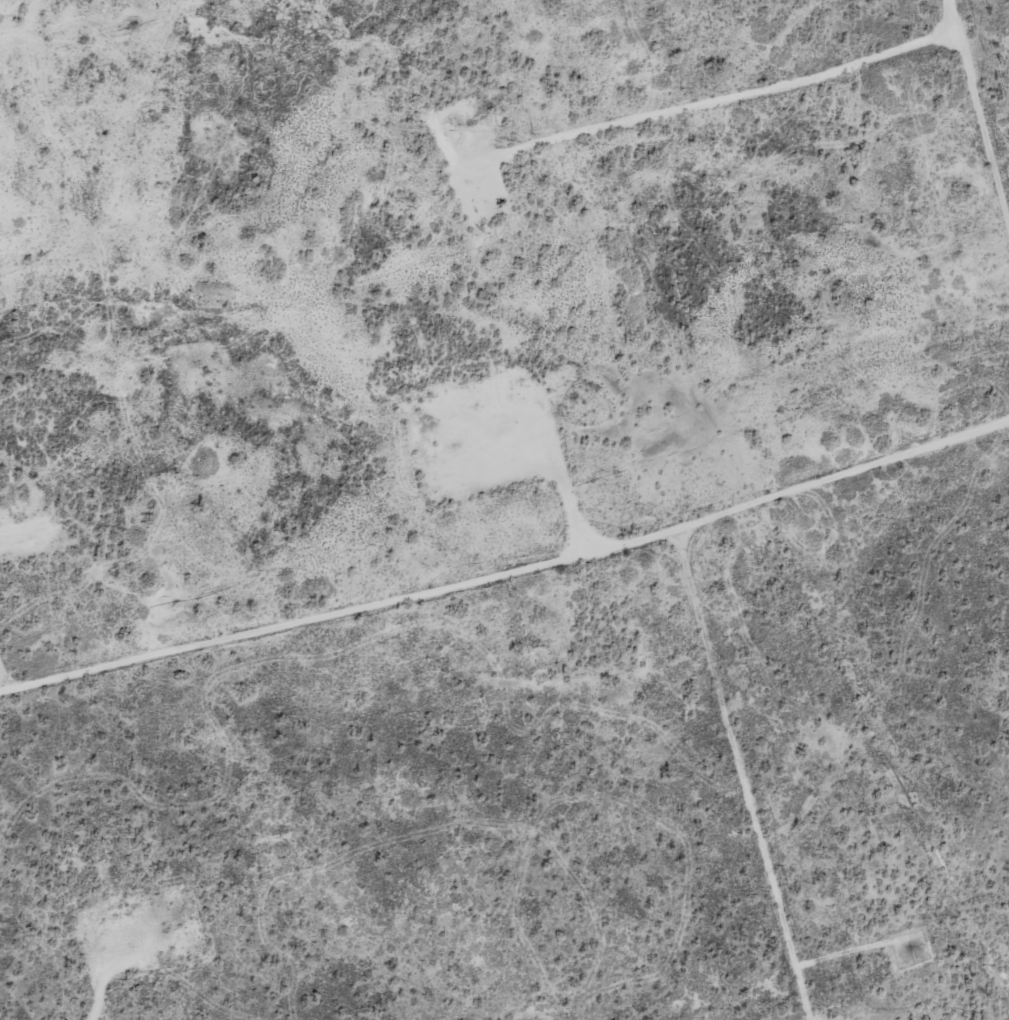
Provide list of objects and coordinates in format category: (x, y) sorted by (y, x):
road: (727, 99)
road: (980, 114)
road: (508, 567)

